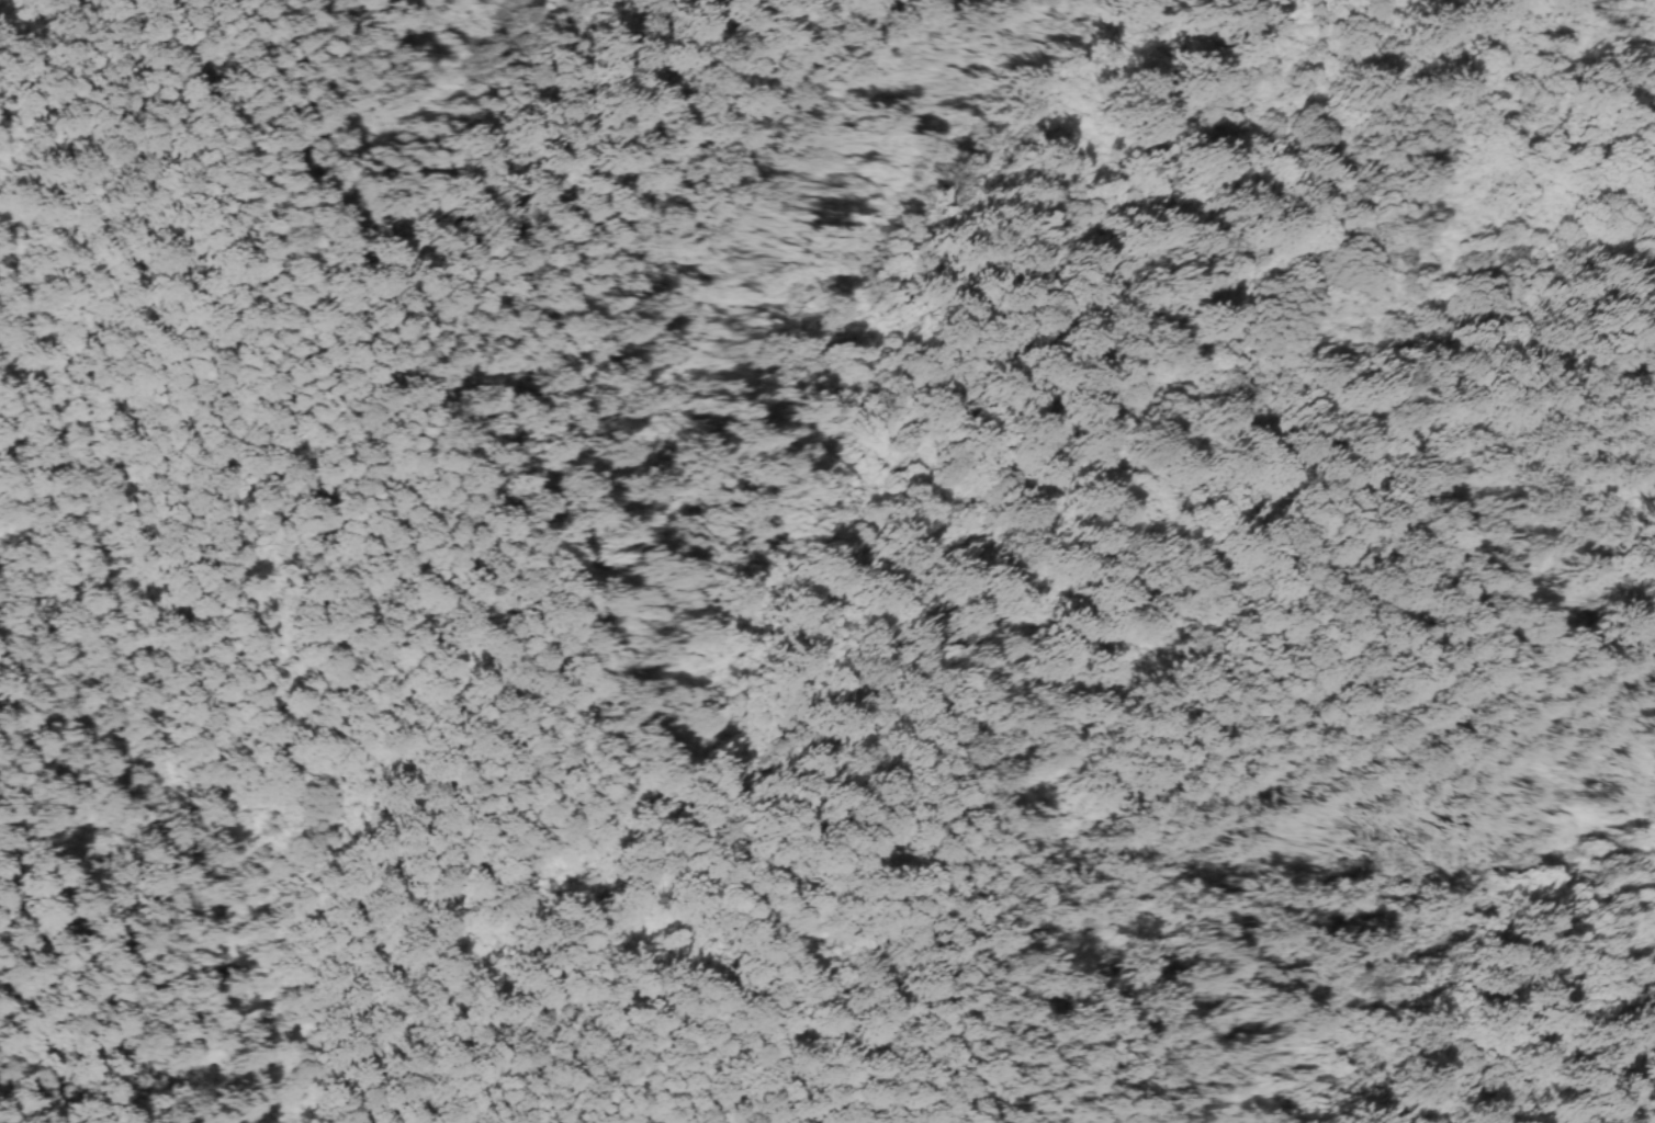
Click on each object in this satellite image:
road: (990, 738)
road: (810, 963)

